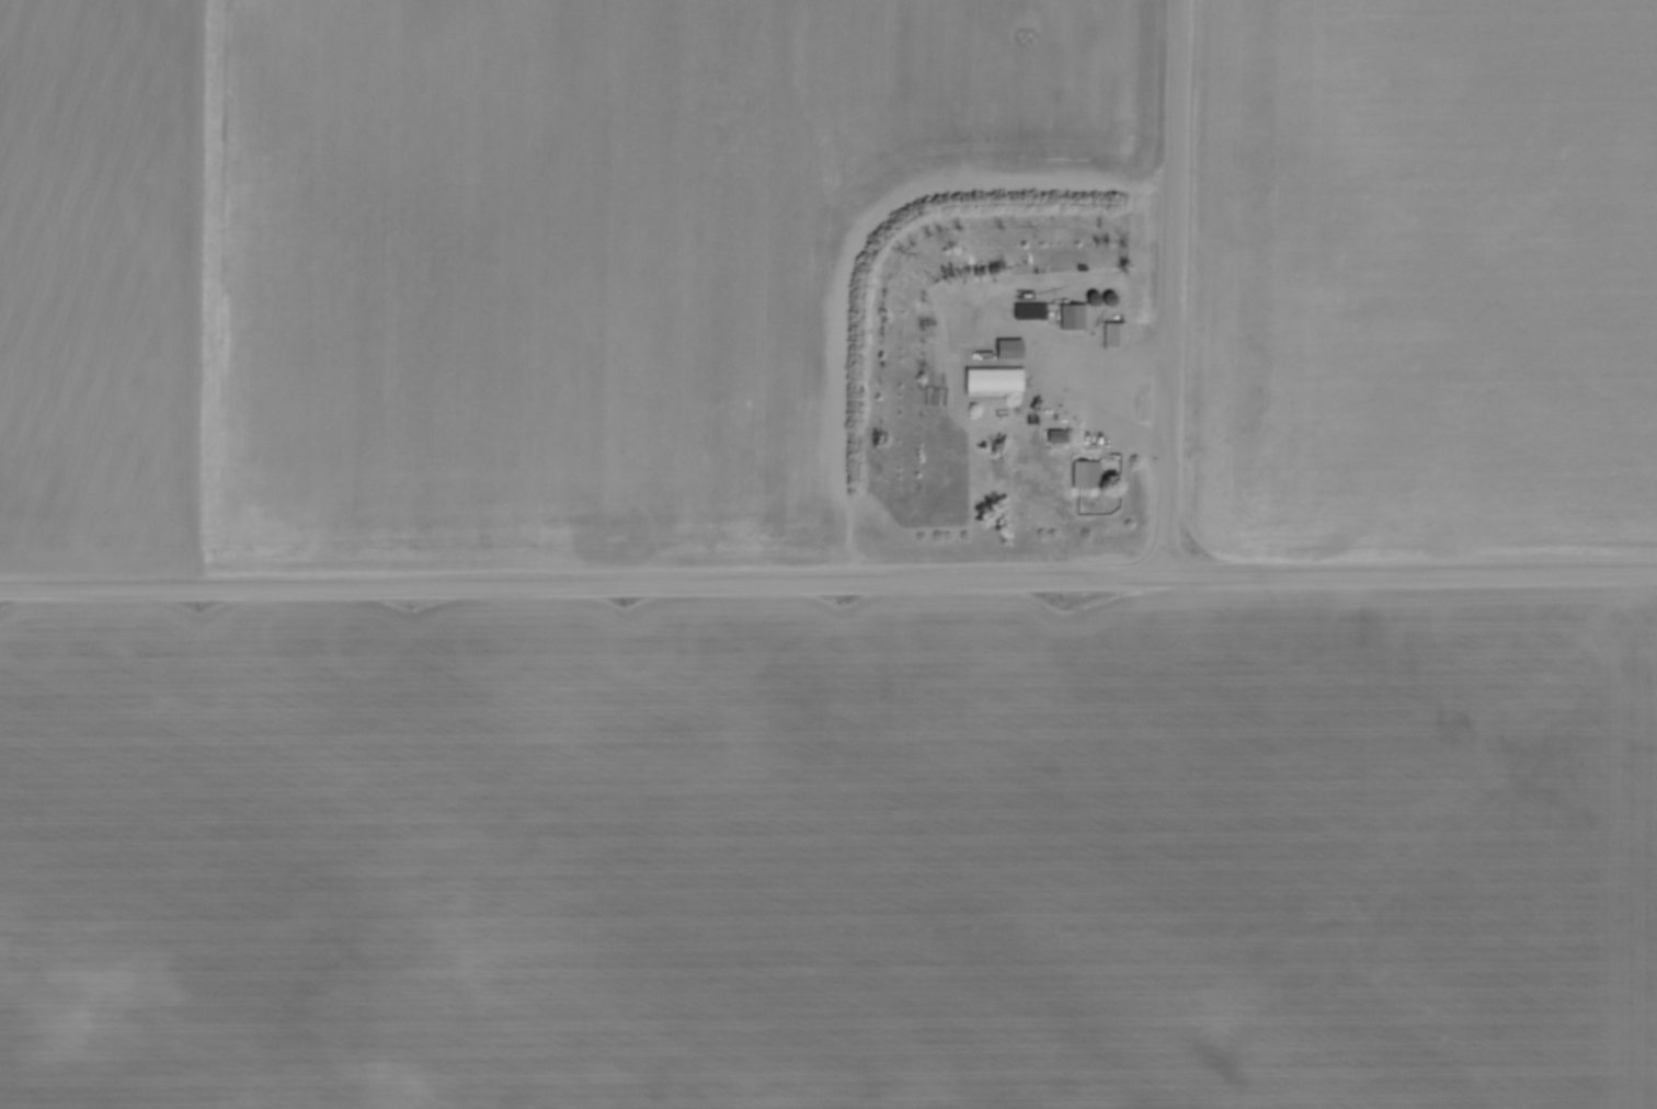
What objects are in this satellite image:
crop: (485, 261)
crop: (1425, 275)
road: (1170, 287)
silo: (1111, 296)
silo: (1095, 297)
building: (1032, 310)
building: (1074, 316)
building: (1116, 334)
road: (1044, 344)
building: (1012, 347)
building: (996, 380)
road: (1112, 398)
building: (1058, 434)
building: (1084, 475)
road: (828, 580)
crop: (832, 853)

